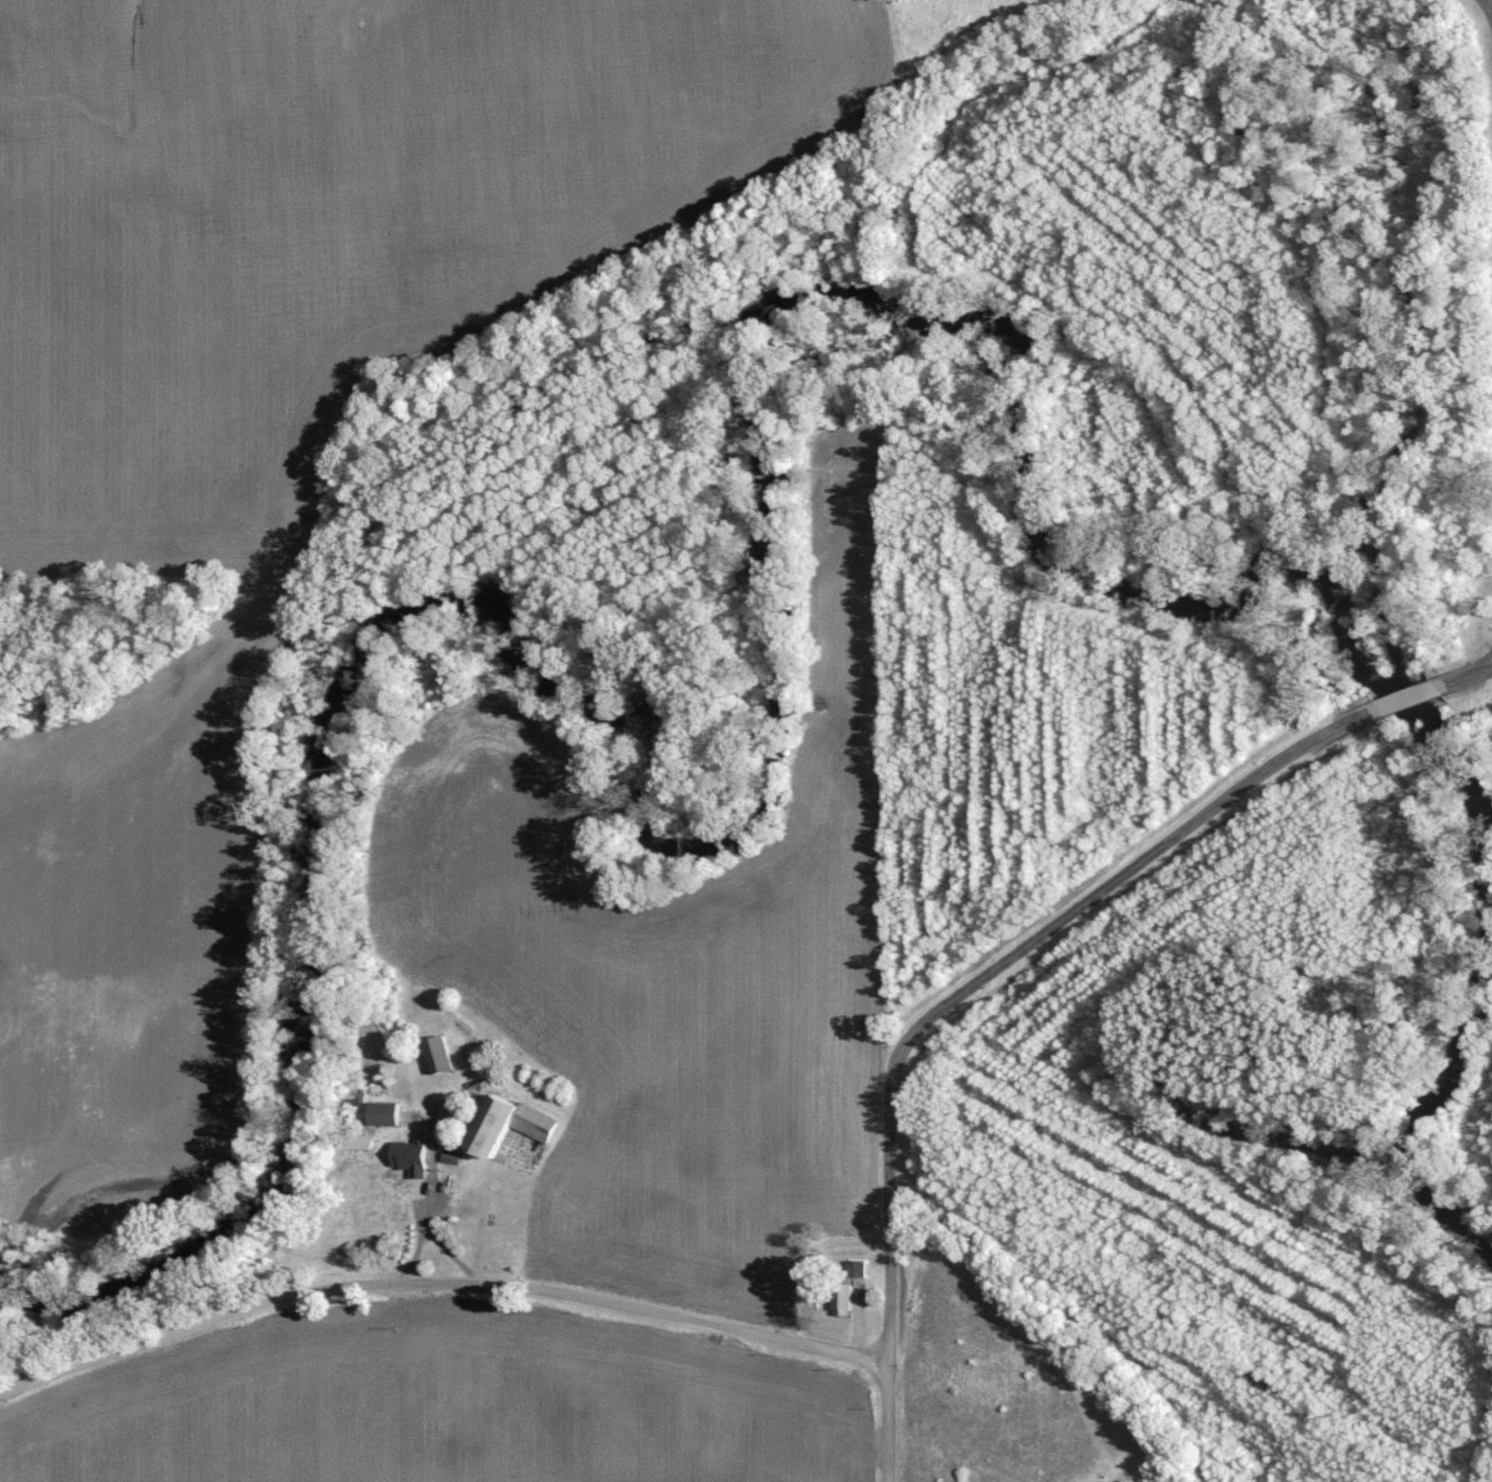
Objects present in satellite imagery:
road: (1488, 8)
crop: (317, 222)
road: (1487, 668)
road: (1487, 671)
road: (1459, 681)
road: (1407, 698)
river: (686, 837)
road: (1127, 871)
crop: (125, 881)
crop: (683, 926)
building: (445, 1051)
building: (390, 1111)
building: (515, 1122)
building: (366, 1140)
building: (457, 1153)
building: (417, 1154)
road: (443, 1246)
road: (417, 1253)
road: (889, 1270)
road: (438, 1282)
crop: (440, 1412)

